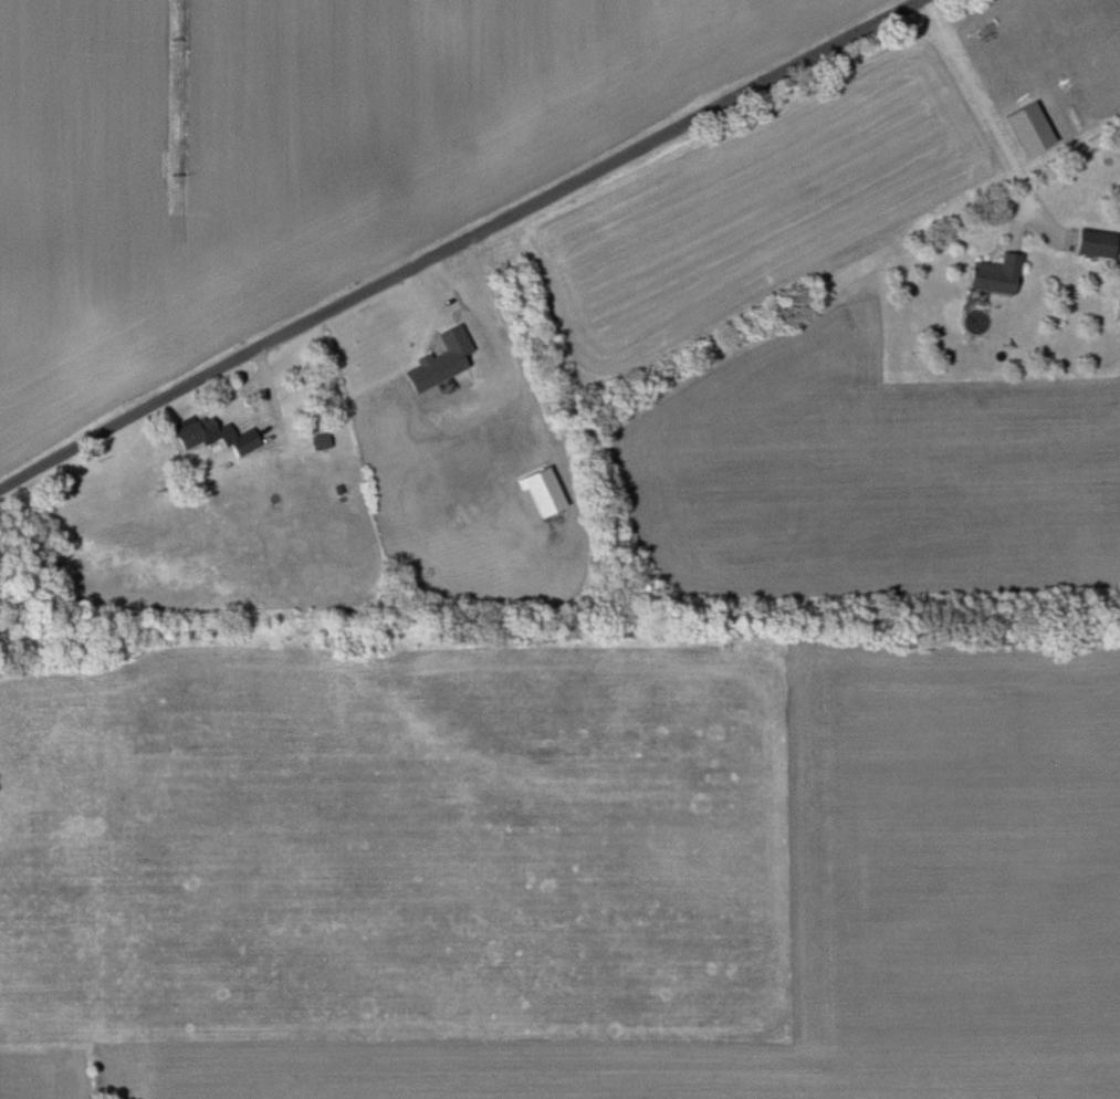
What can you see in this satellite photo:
road: (991, 115)
road: (461, 243)
building: (1098, 244)
building: (998, 275)
building: (198, 432)
building: (245, 441)

